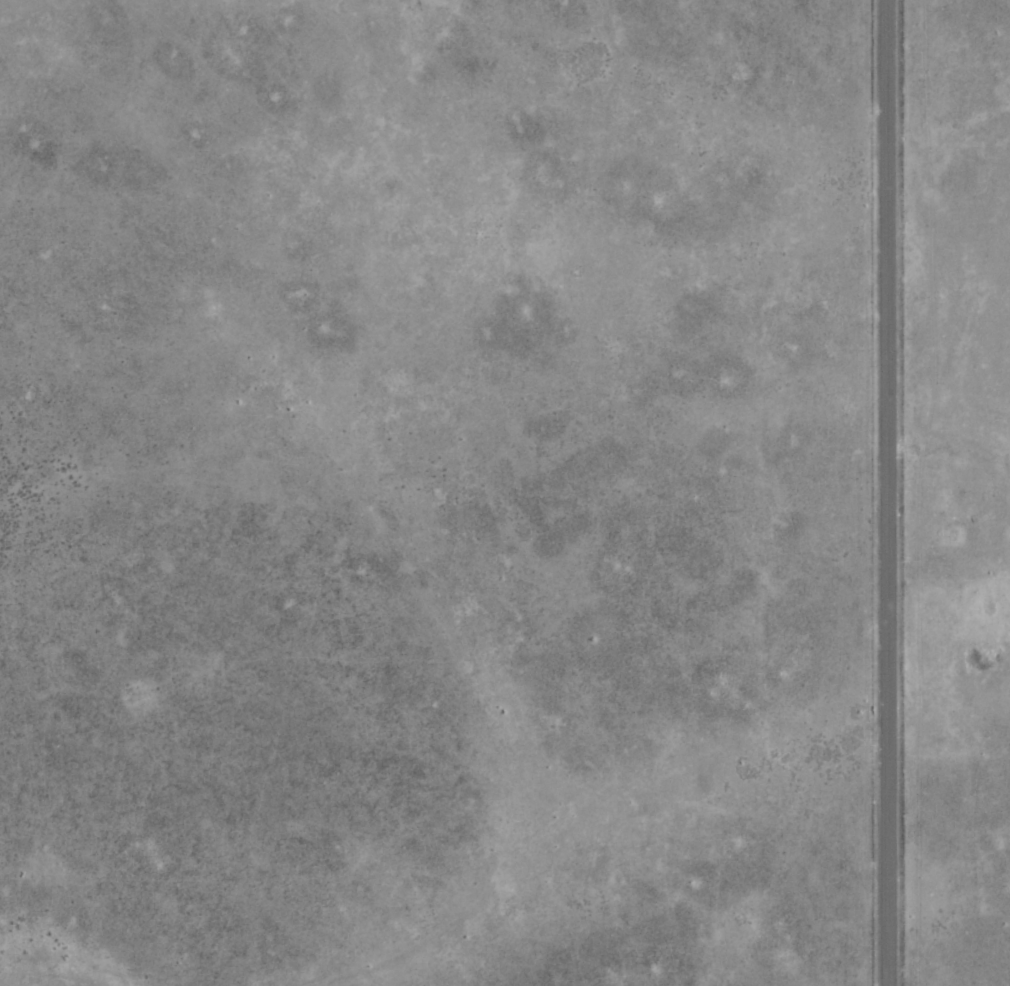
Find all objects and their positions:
road: (890, 493)

